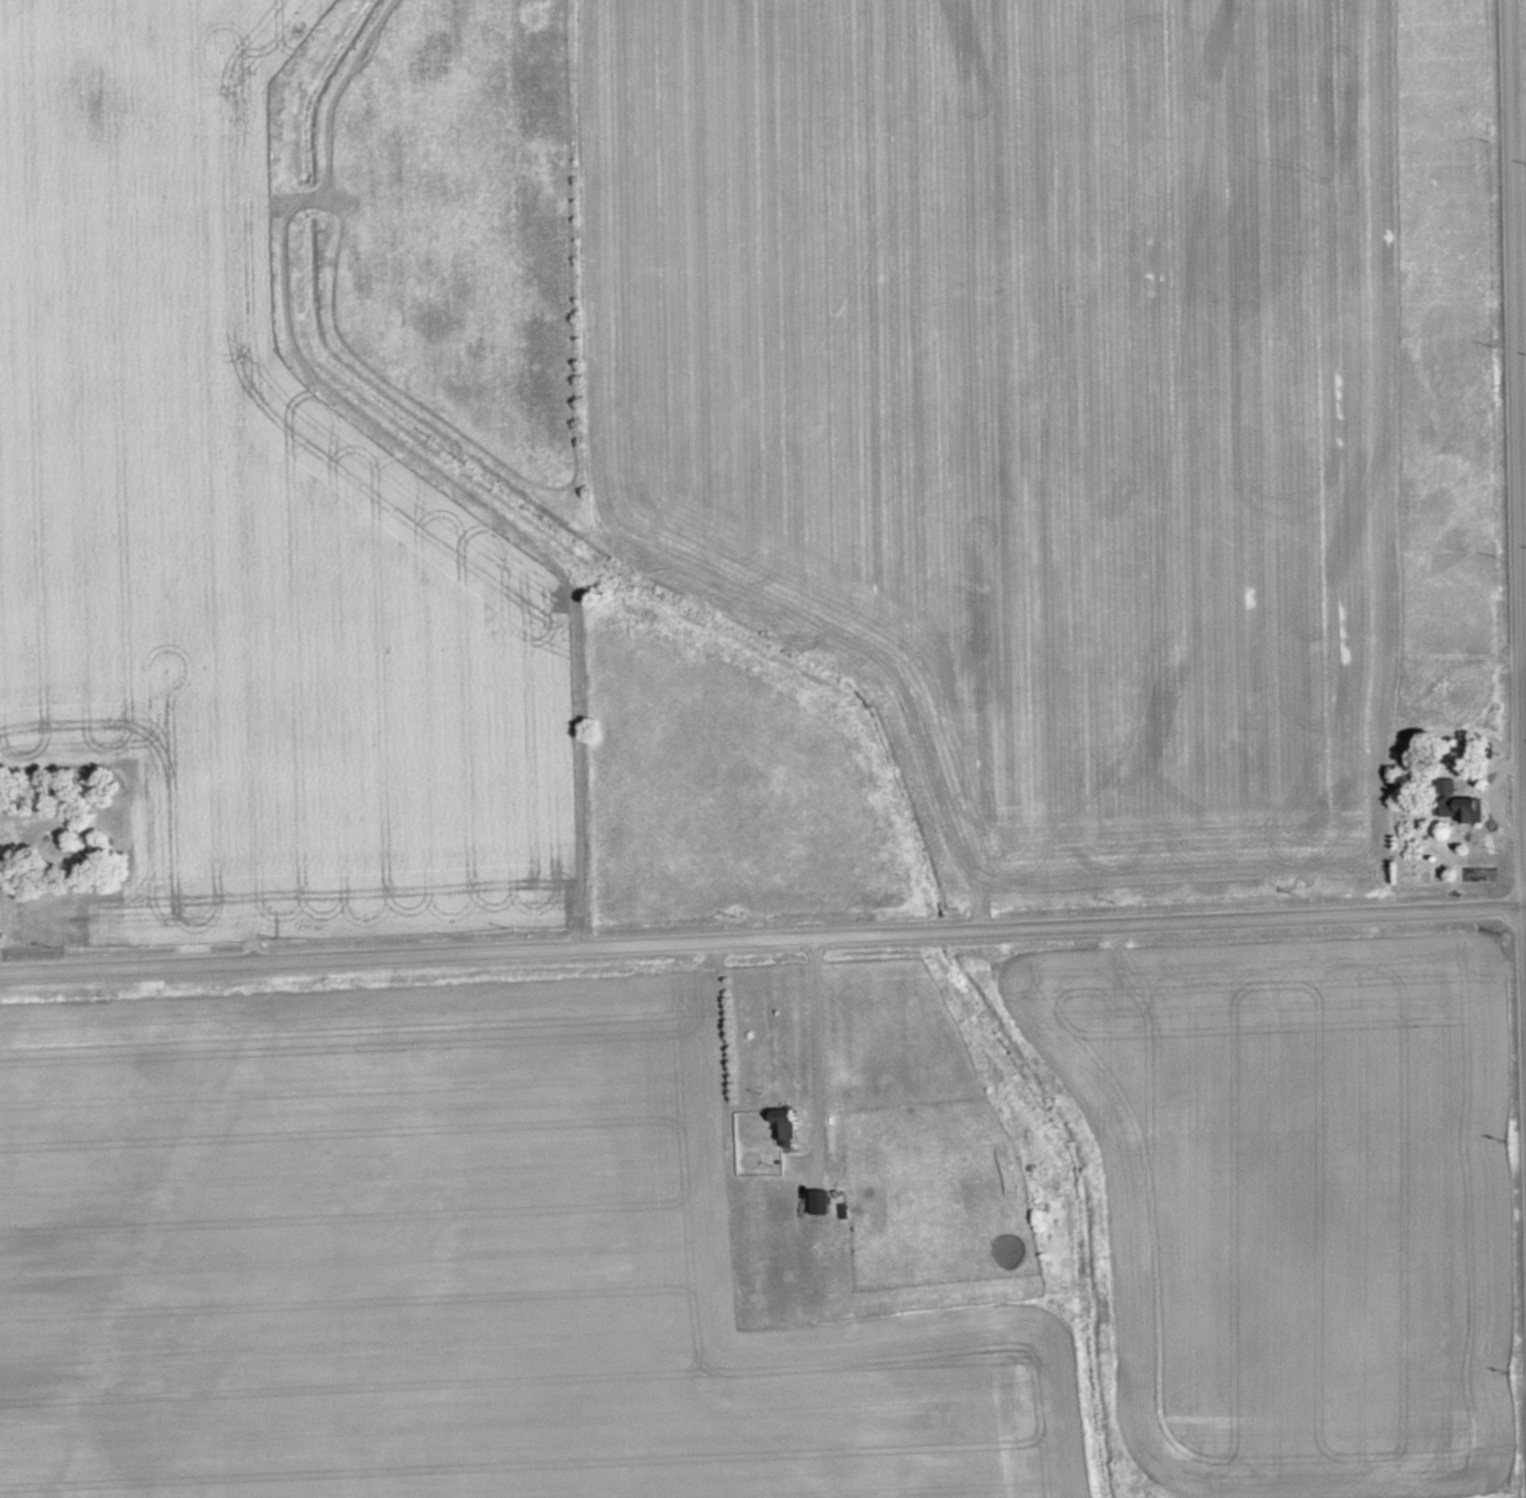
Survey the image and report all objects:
road: (1521, 299)
building: (1454, 803)
road: (763, 937)
building: (892, 977)
building: (781, 1127)
building: (861, 1200)
building: (817, 1202)

